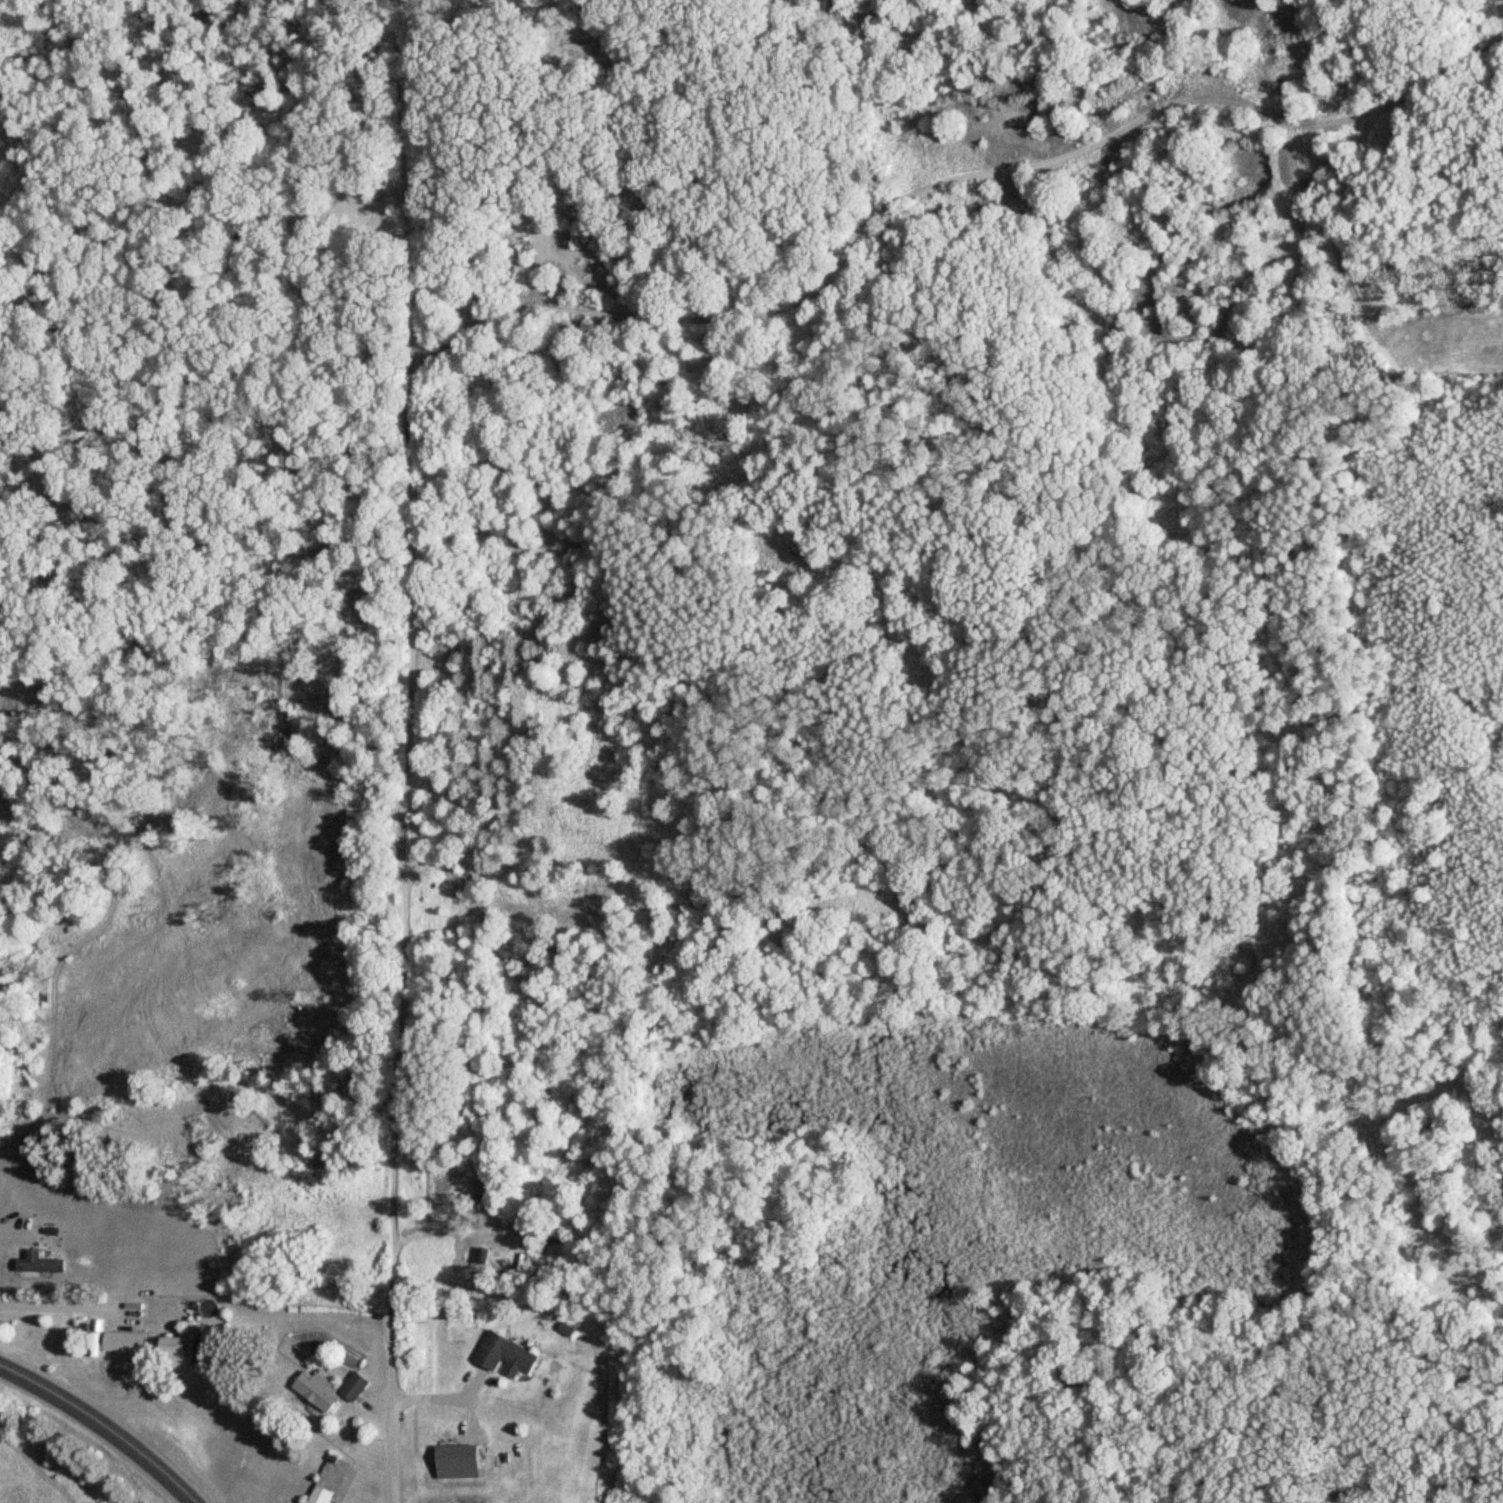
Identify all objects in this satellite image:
building: (42, 1263)
building: (126, 1341)
building: (179, 1347)
building: (507, 1353)
building: (330, 1389)
road: (101, 1426)
road: (392, 1456)
building: (322, 1495)

